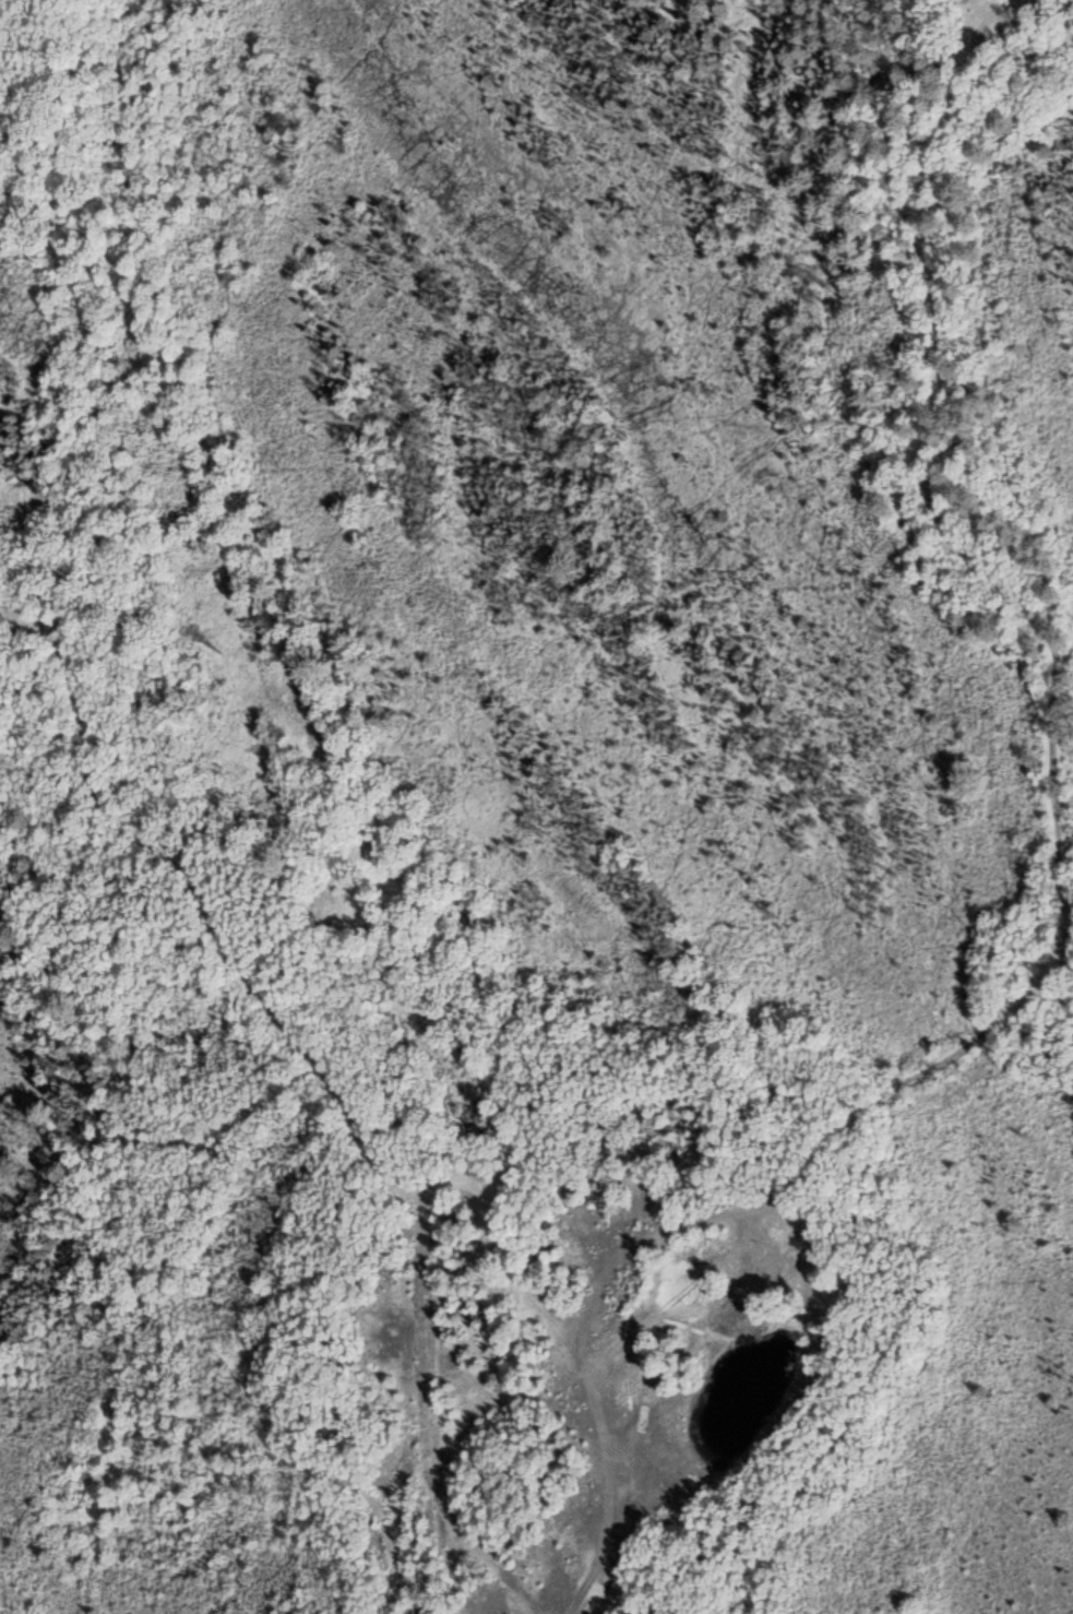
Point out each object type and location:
road: (1061, 907)

